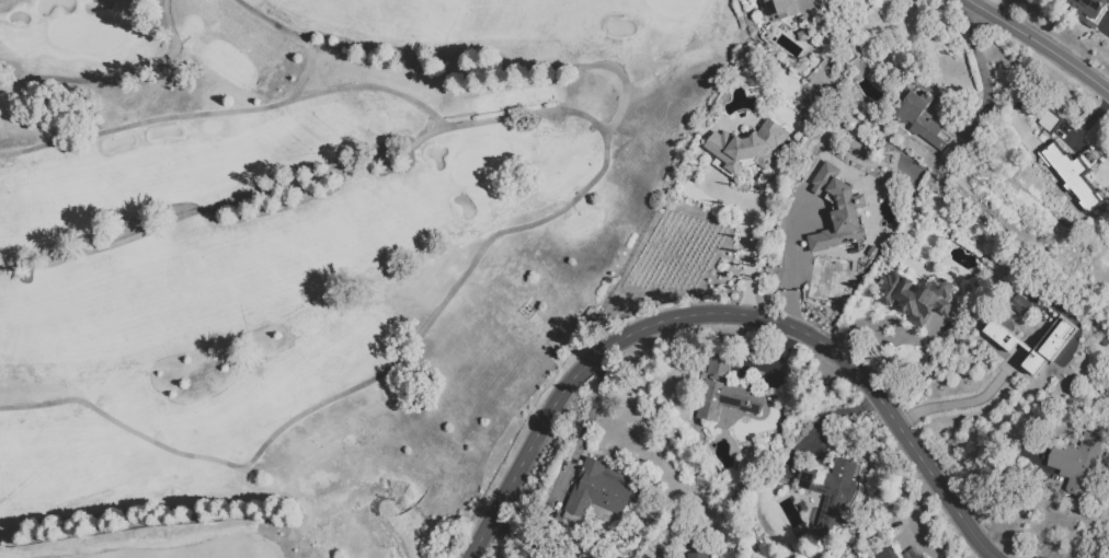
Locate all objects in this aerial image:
building: (781, 9)
building: (1088, 11)
road: (1038, 44)
road: (306, 68)
road: (112, 72)
road: (981, 73)
road: (453, 74)
road: (226, 106)
road: (523, 111)
building: (917, 113)
road: (1088, 120)
building: (1050, 123)
building: (746, 146)
building: (1076, 176)
road: (220, 202)
building: (835, 210)
road: (744, 248)
park: (312, 256)
road: (791, 261)
building: (1018, 303)
building: (923, 310)
road: (725, 313)
building: (1033, 328)
building: (999, 335)
building: (1047, 346)
building: (721, 365)
road: (398, 396)
building: (728, 402)
road: (963, 402)
road: (821, 419)
road: (584, 427)
building: (1083, 466)
building: (598, 492)
building: (833, 493)
road: (915, 514)
road: (502, 540)
road: (530, 540)
building: (889, 555)
building: (913, 555)
building: (666, 556)
building: (701, 556)
building: (919, 557)
building: (924, 557)

